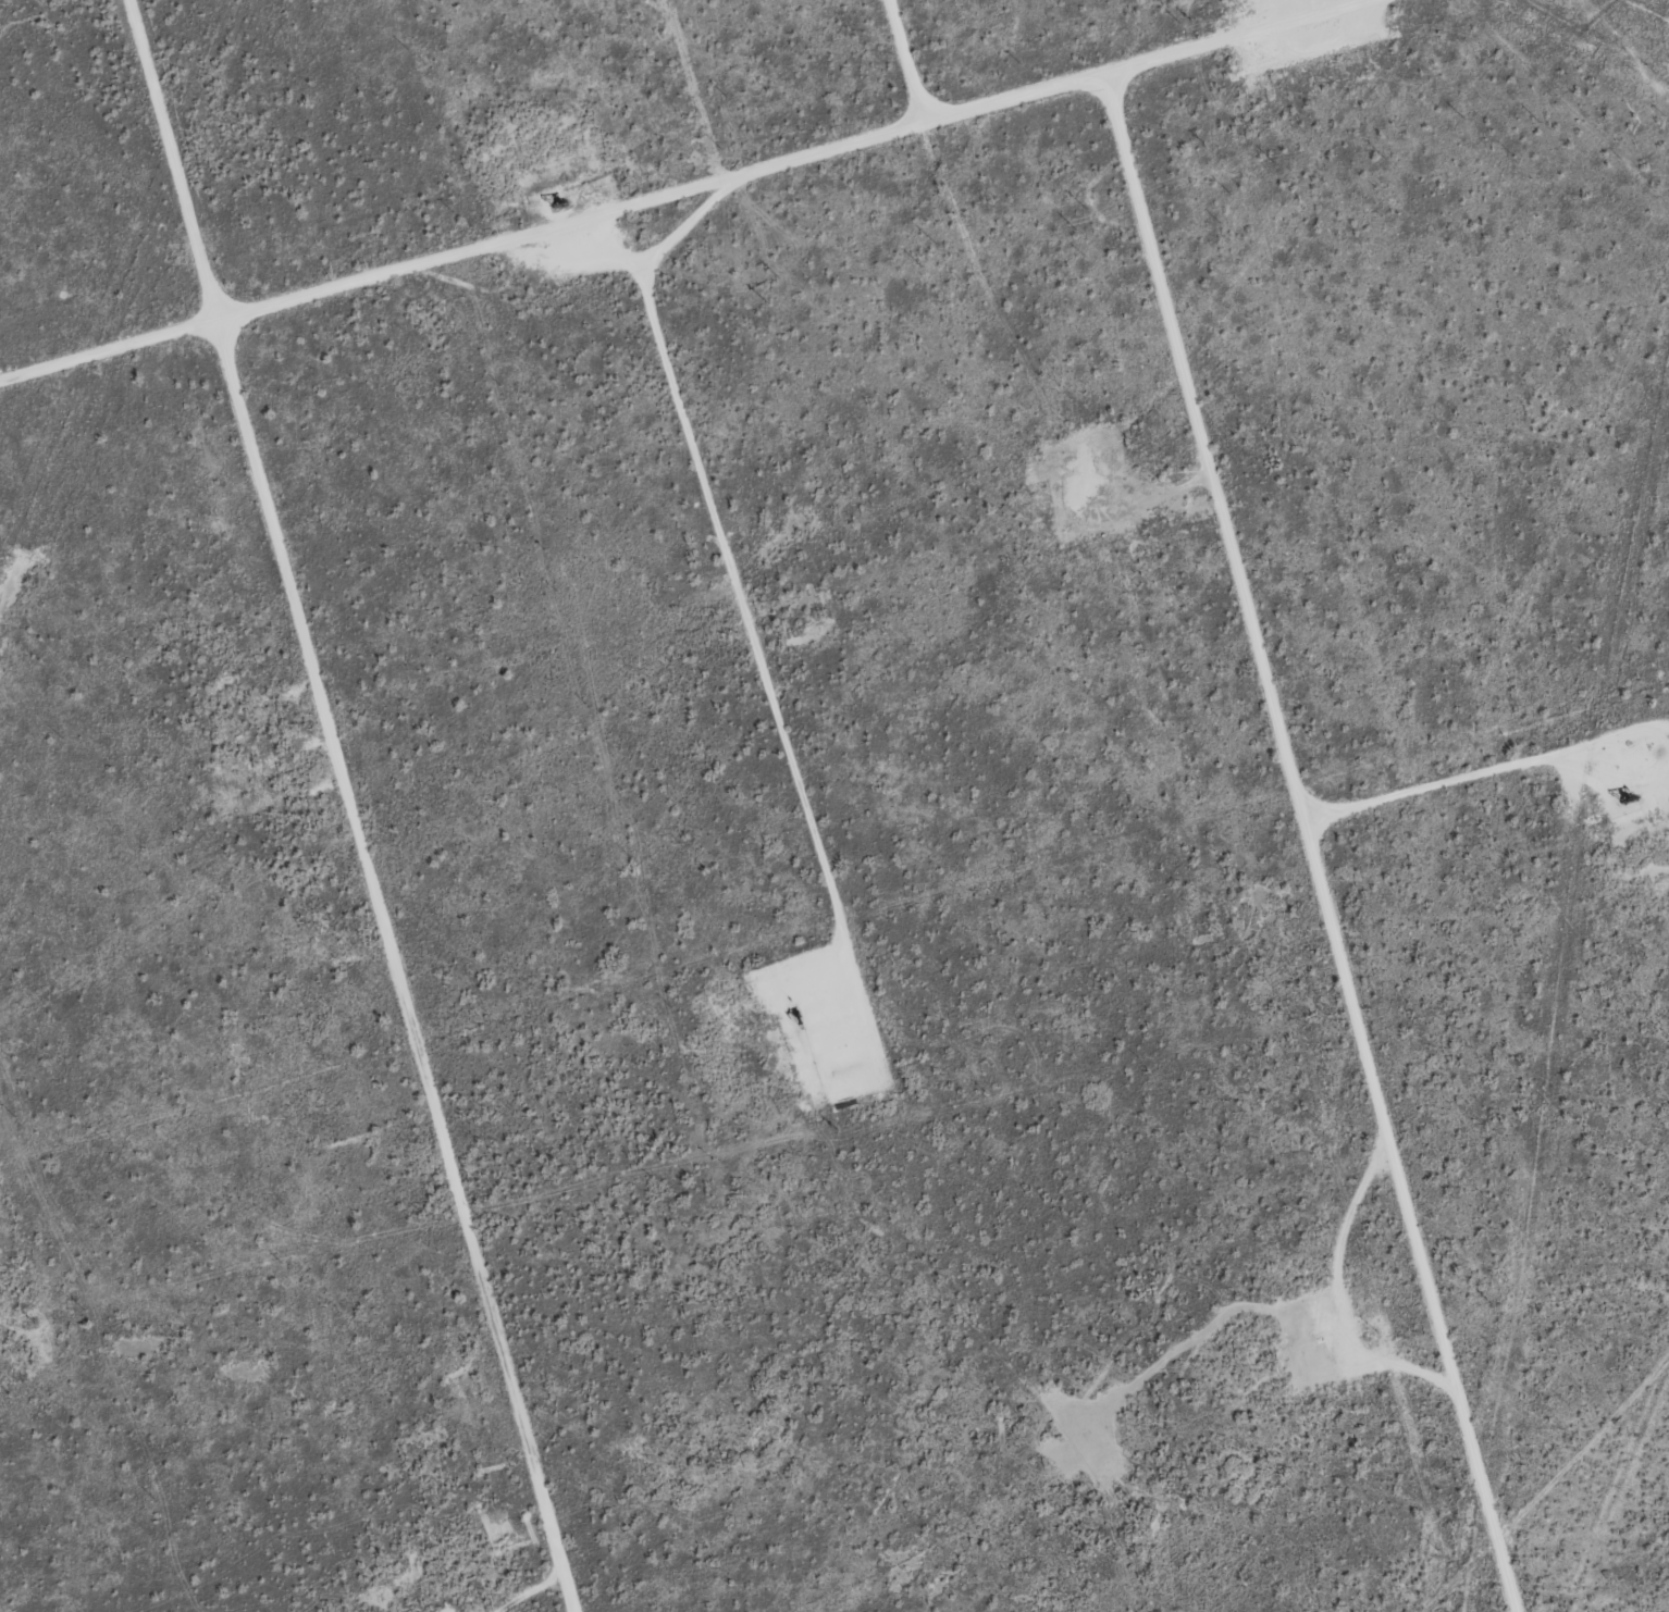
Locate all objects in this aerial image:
road: (906, 64)
road: (694, 218)
road: (351, 806)
road: (1315, 845)

